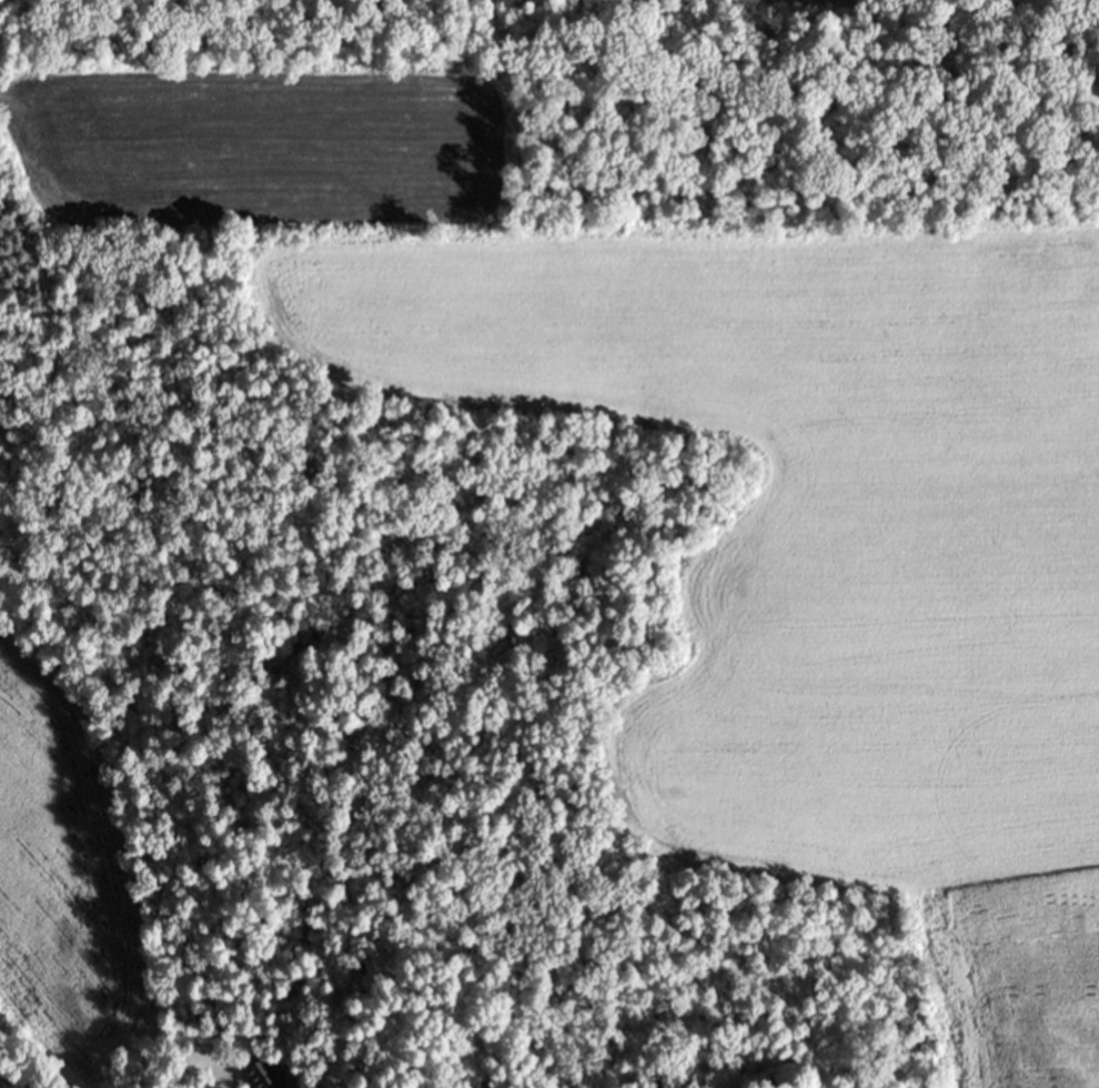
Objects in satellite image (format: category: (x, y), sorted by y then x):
building: (262, 1070)

